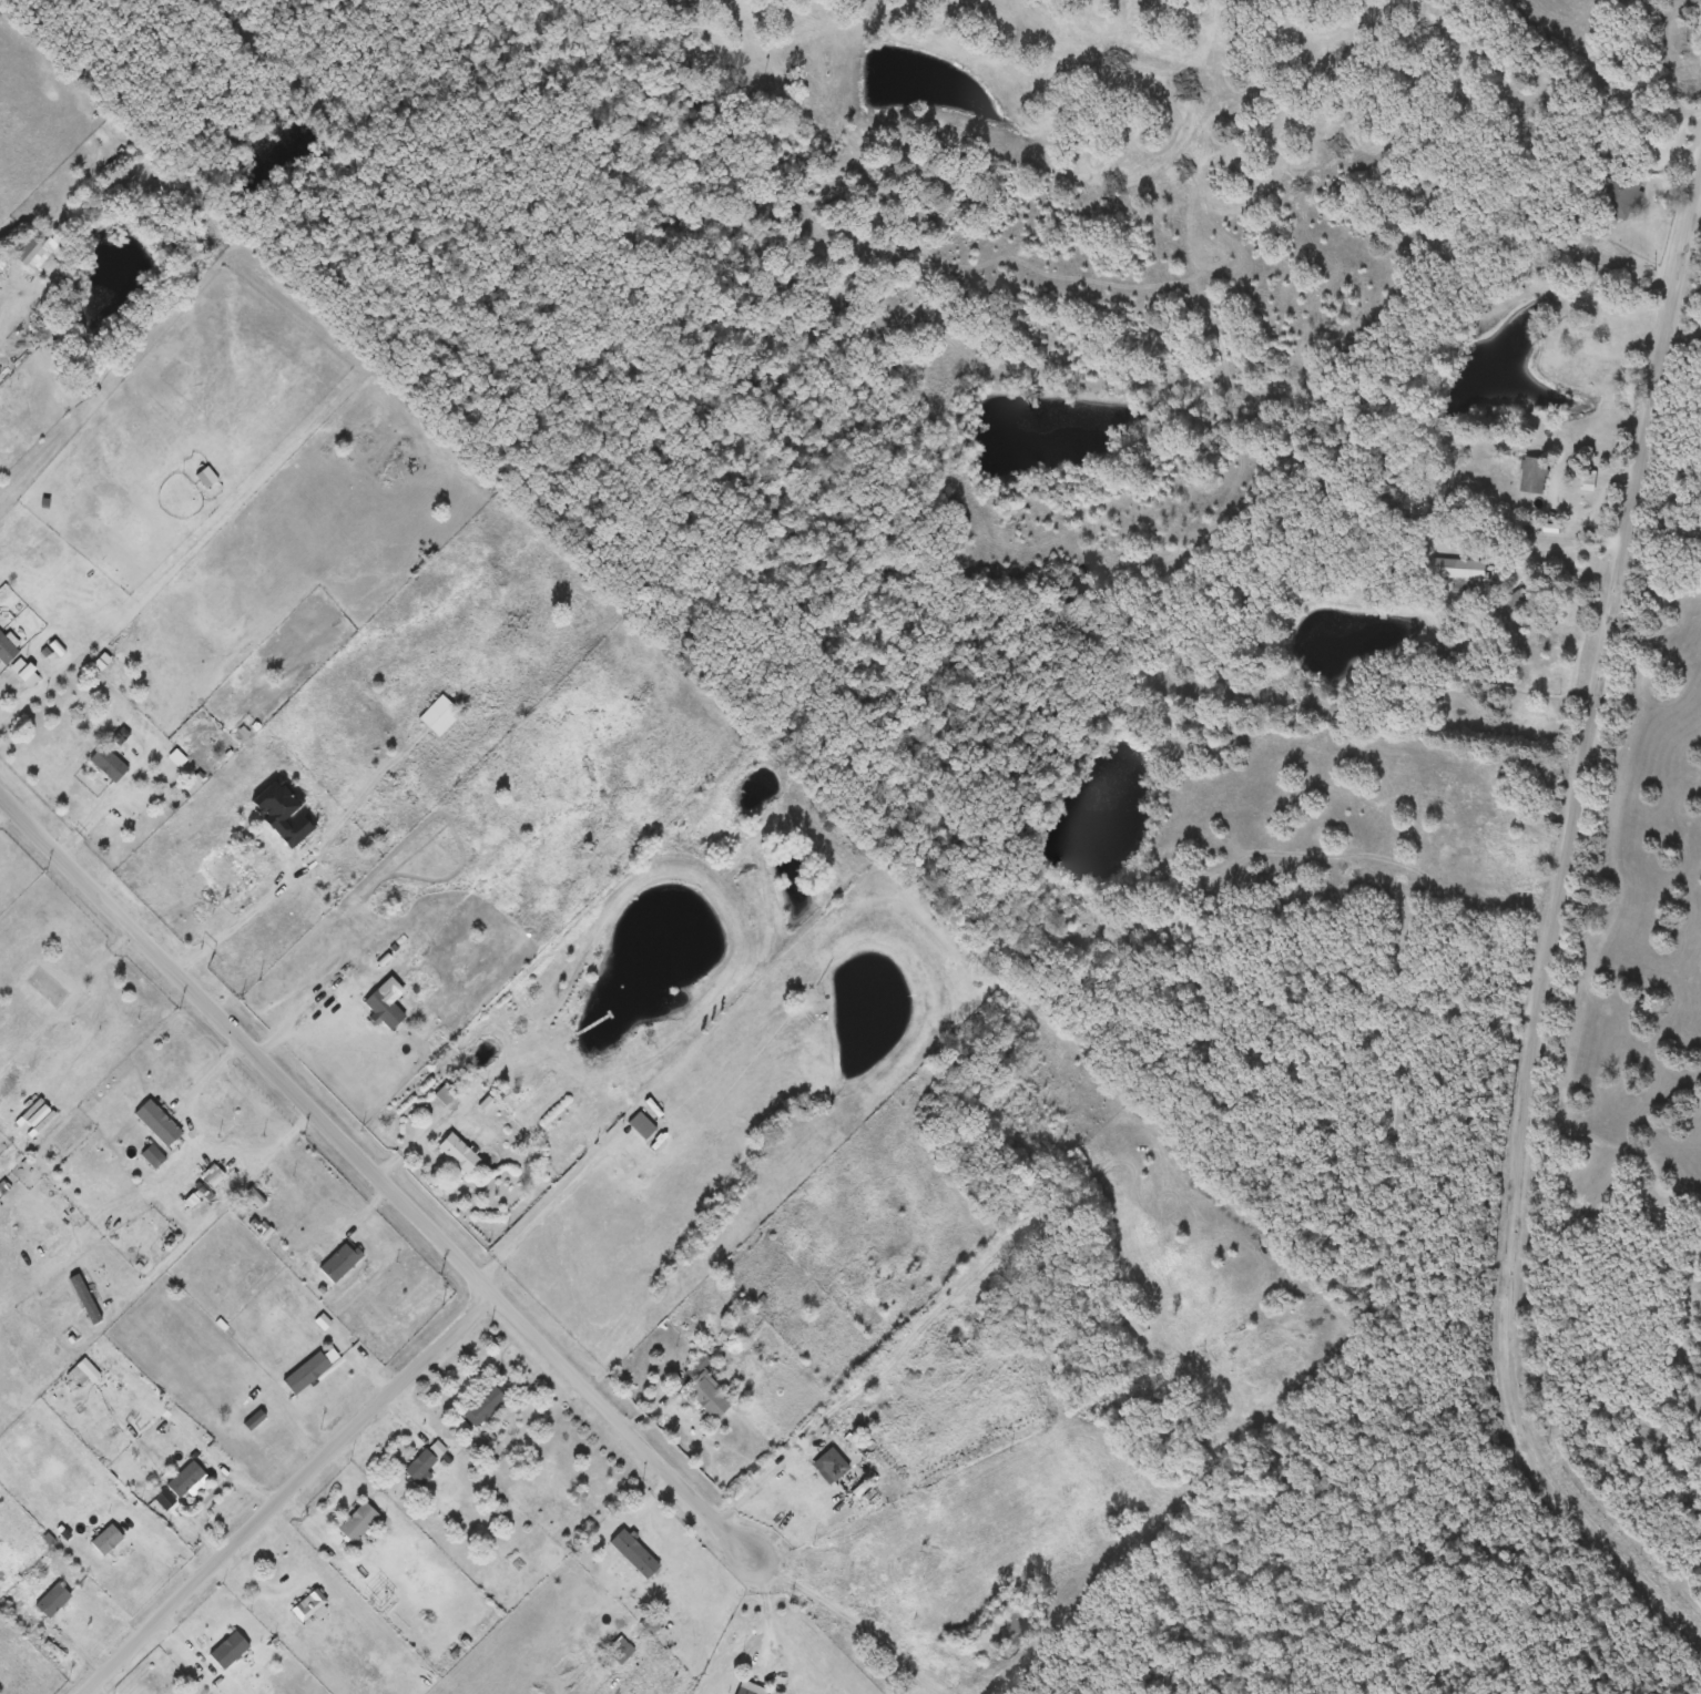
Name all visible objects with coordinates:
building: (690, 0)
building: (1622, 197)
building: (28, 256)
road: (22, 340)
building: (1534, 477)
building: (204, 478)
building: (1588, 481)
road: (1568, 549)
building: (1457, 569)
building: (6, 651)
building: (23, 674)
building: (375, 712)
building: (439, 717)
building: (108, 765)
road: (166, 790)
road: (302, 860)
building: (222, 875)
building: (347, 876)
road: (1552, 939)
building: (1403, 958)
road: (1498, 1013)
road: (302, 1017)
road: (190, 1121)
building: (159, 1123)
building: (640, 1126)
road: (289, 1139)
building: (457, 1154)
road: (548, 1210)
road: (452, 1248)
building: (1267, 1369)
building: (705, 1390)
building: (483, 1407)
building: (832, 1466)
building: (421, 1469)
road: (762, 1479)
building: (185, 1480)
road: (287, 1491)
building: (164, 1499)
road: (344, 1502)
building: (358, 1522)
building: (633, 1553)
building: (51, 1601)
building: (807, 1687)

